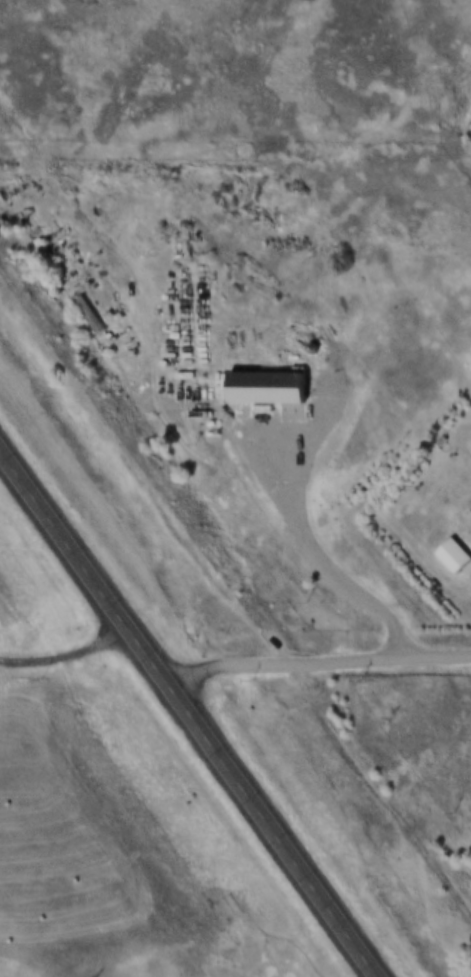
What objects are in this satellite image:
building: (83, 312)
building: (305, 347)
silo: (305, 347)
building: (258, 387)
road: (313, 547)
building: (445, 555)
road: (68, 655)
road: (316, 663)
road: (191, 712)

